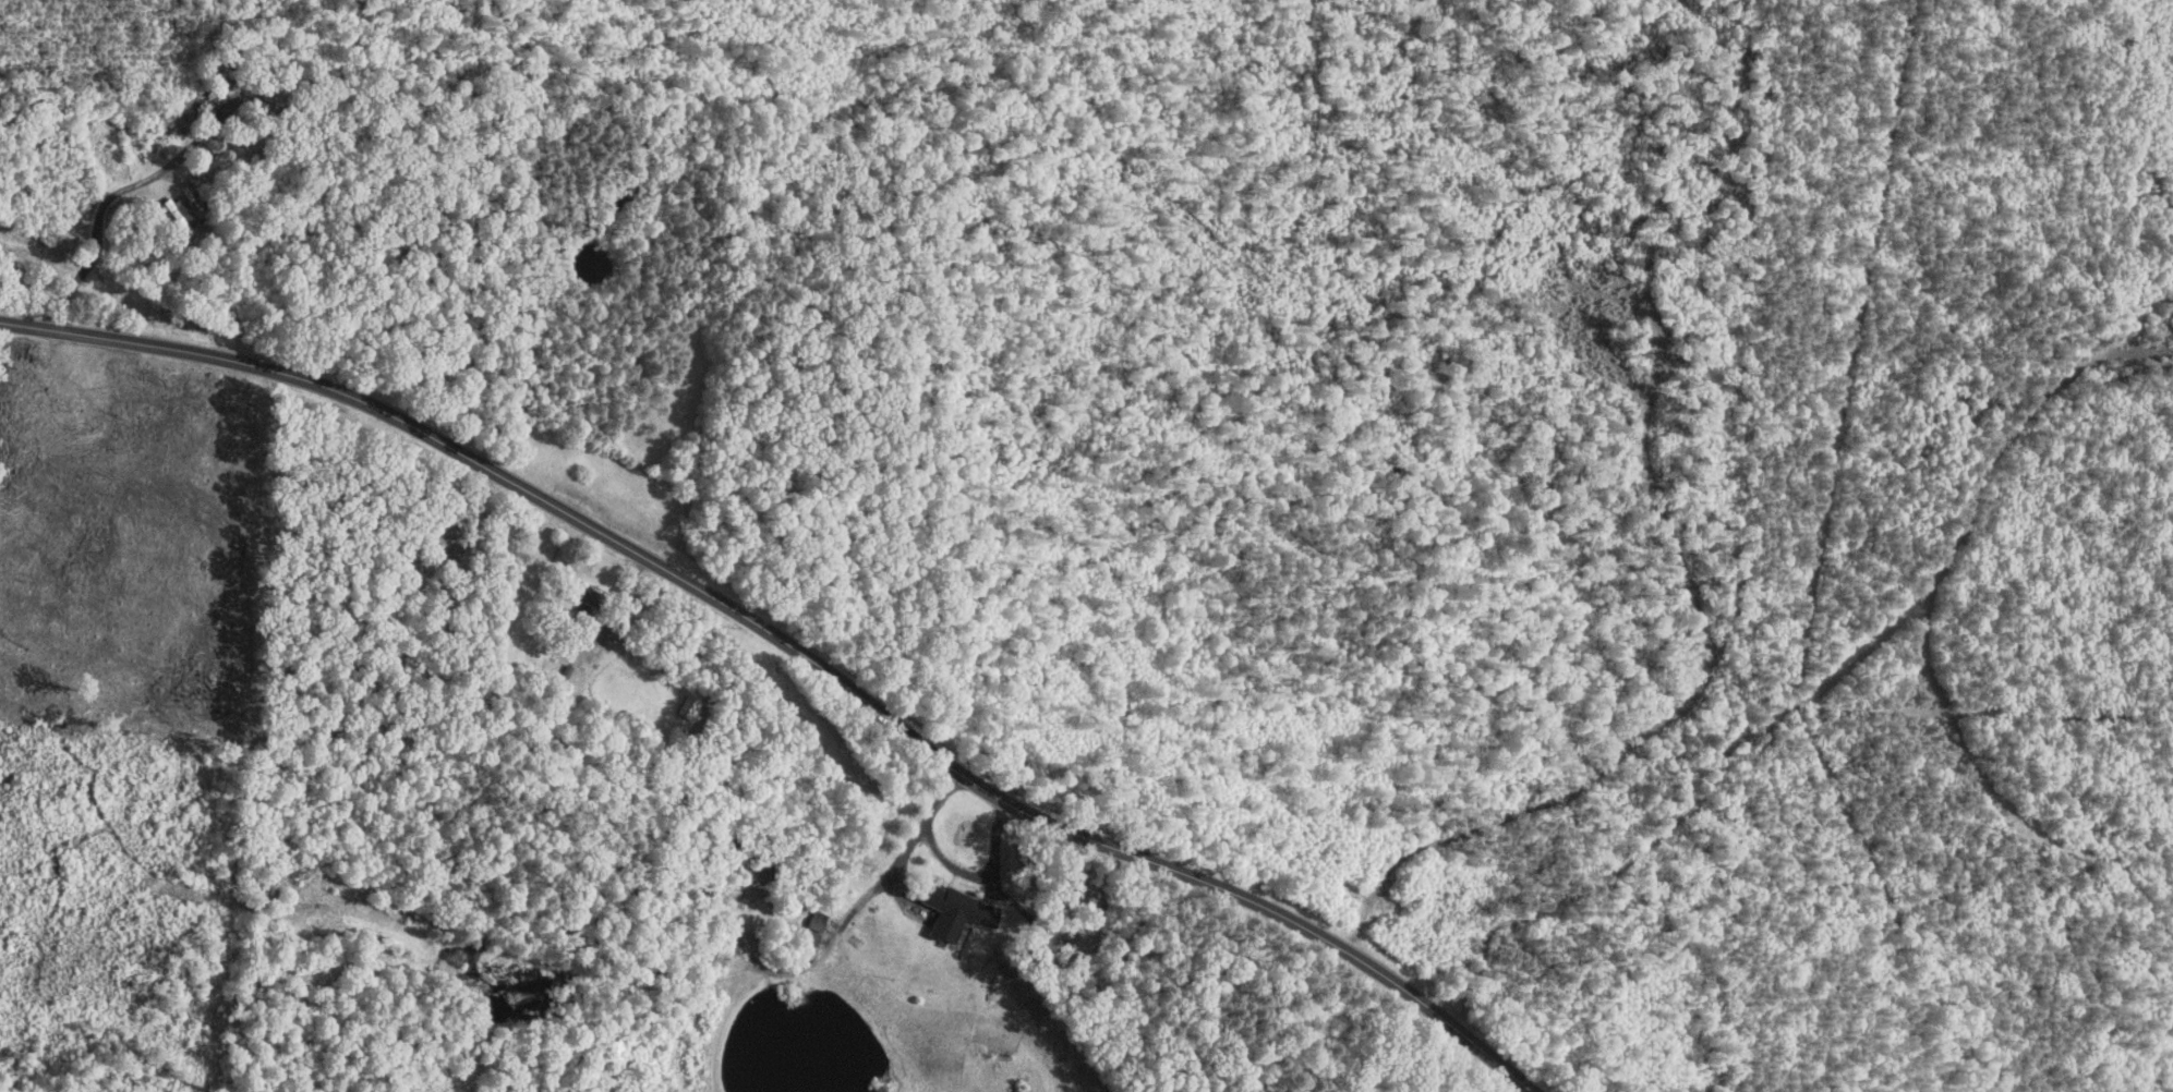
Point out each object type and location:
road: (118, 192)
road: (794, 648)
road: (896, 859)
building: (952, 912)

